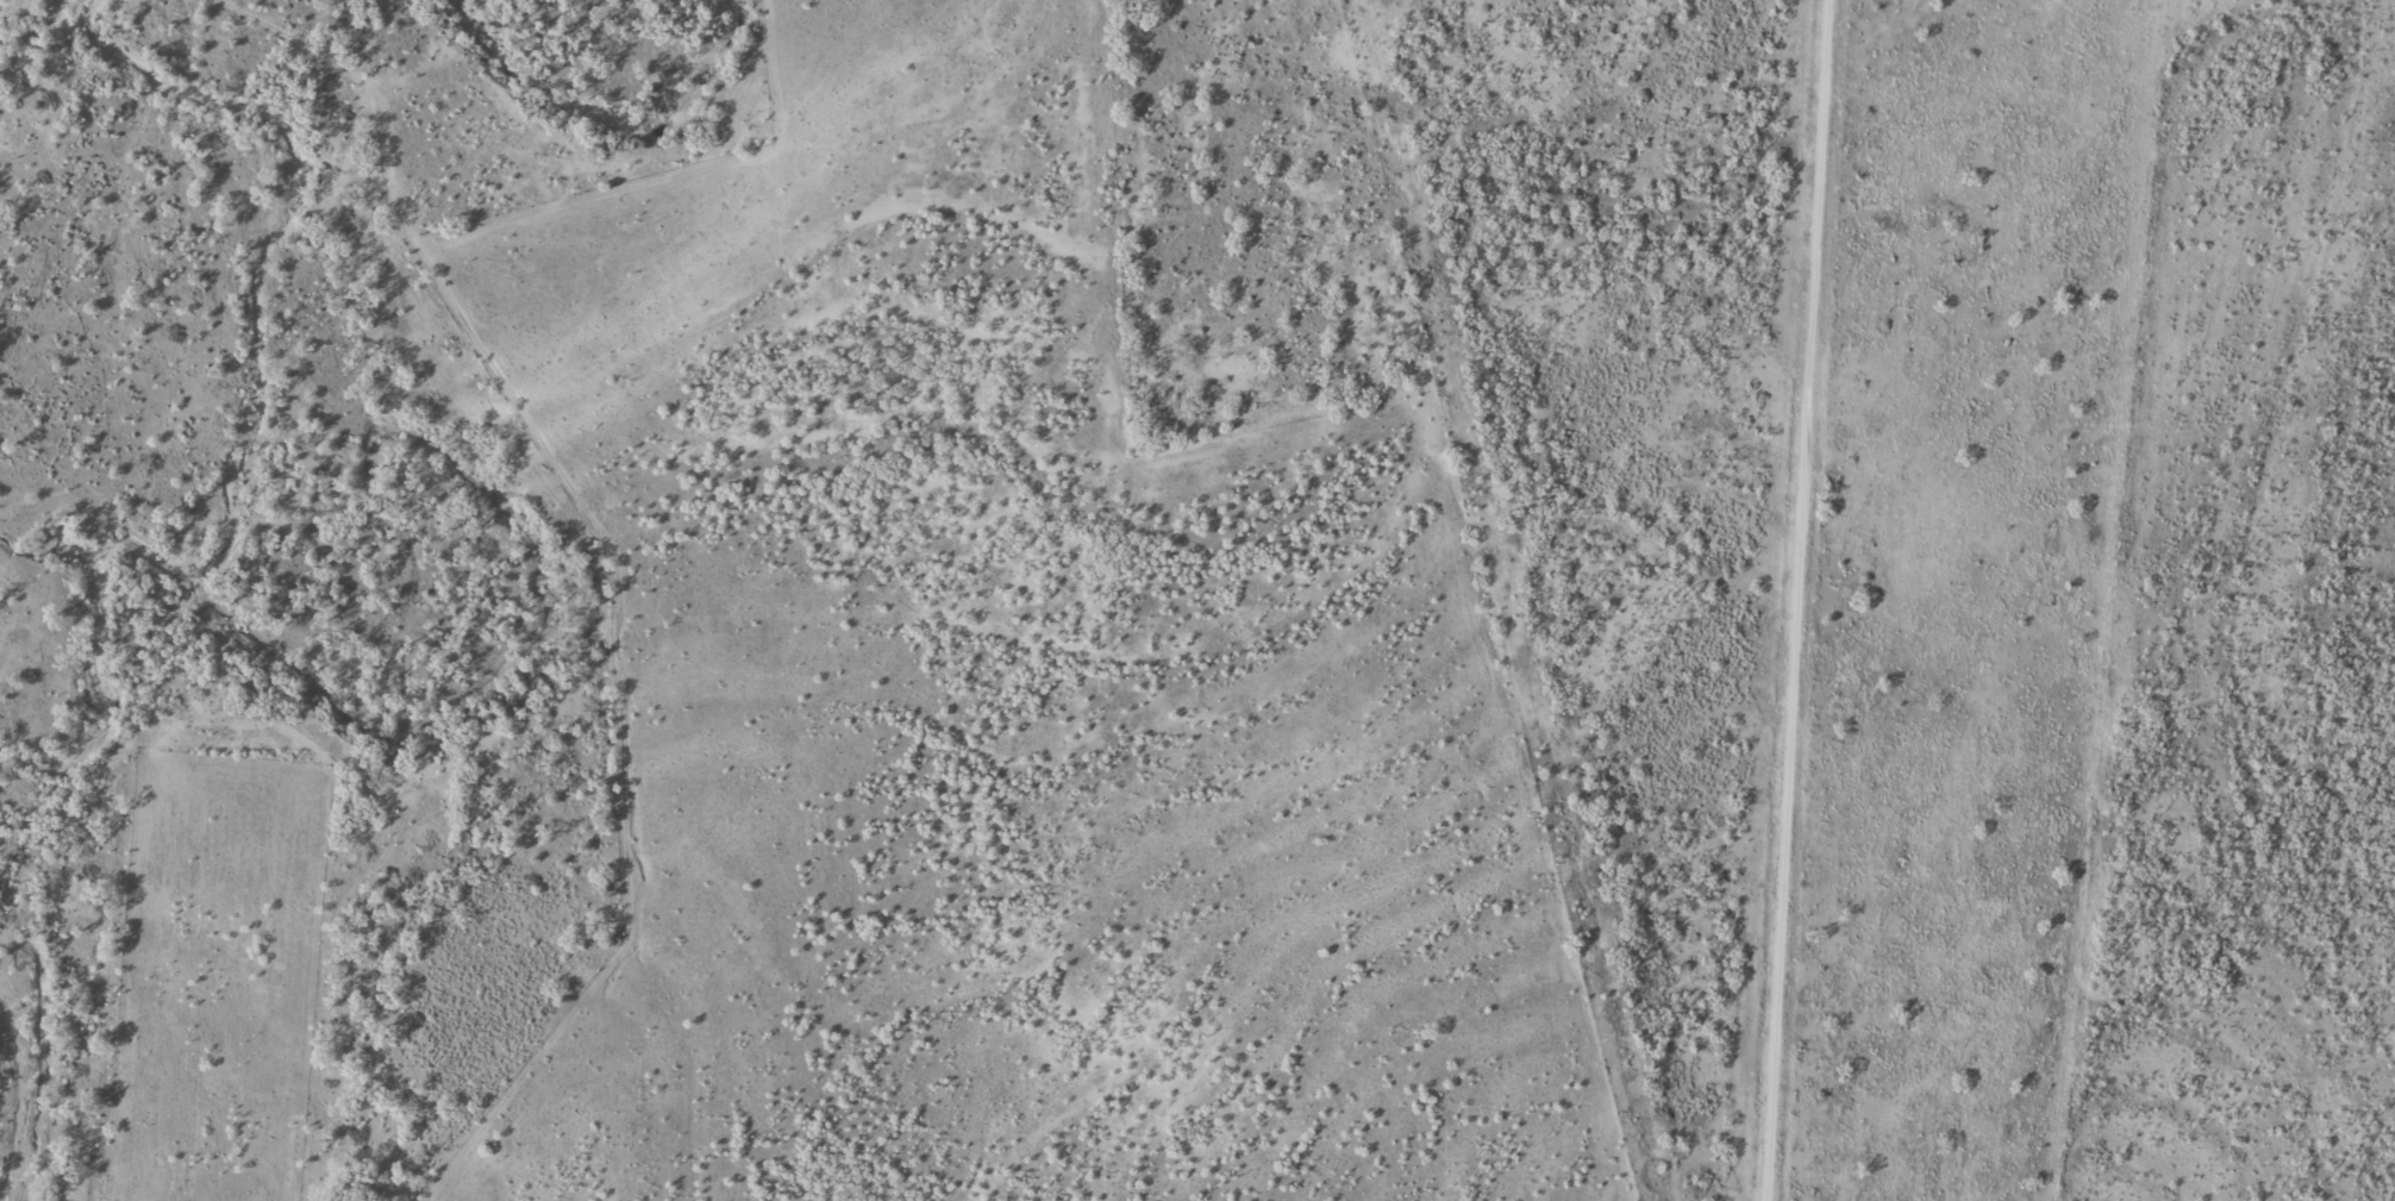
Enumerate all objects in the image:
road: (1761, 599)

